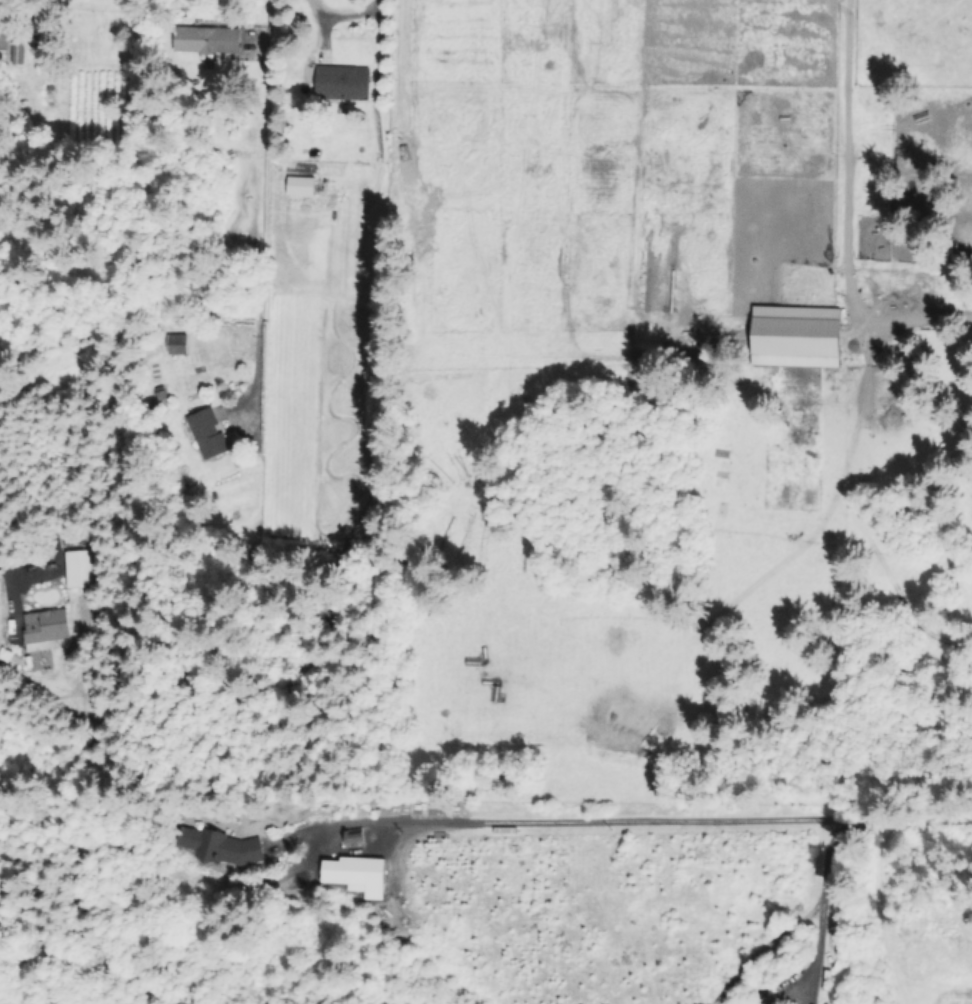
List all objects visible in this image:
road: (352, 13)
building: (209, 39)
building: (10, 41)
building: (345, 82)
road: (257, 208)
road: (841, 221)
building: (209, 433)
building: (84, 568)
road: (19, 569)
building: (47, 629)
road: (643, 814)
building: (228, 846)
building: (349, 870)
road: (822, 909)
building: (823, 980)

